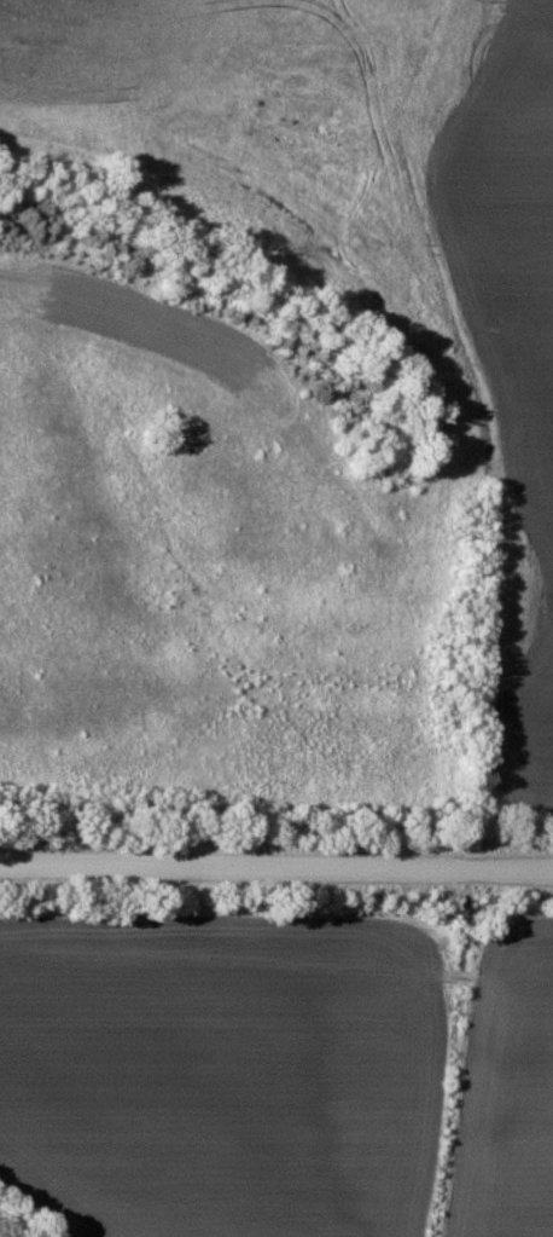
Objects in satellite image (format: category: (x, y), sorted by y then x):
road: (276, 868)

